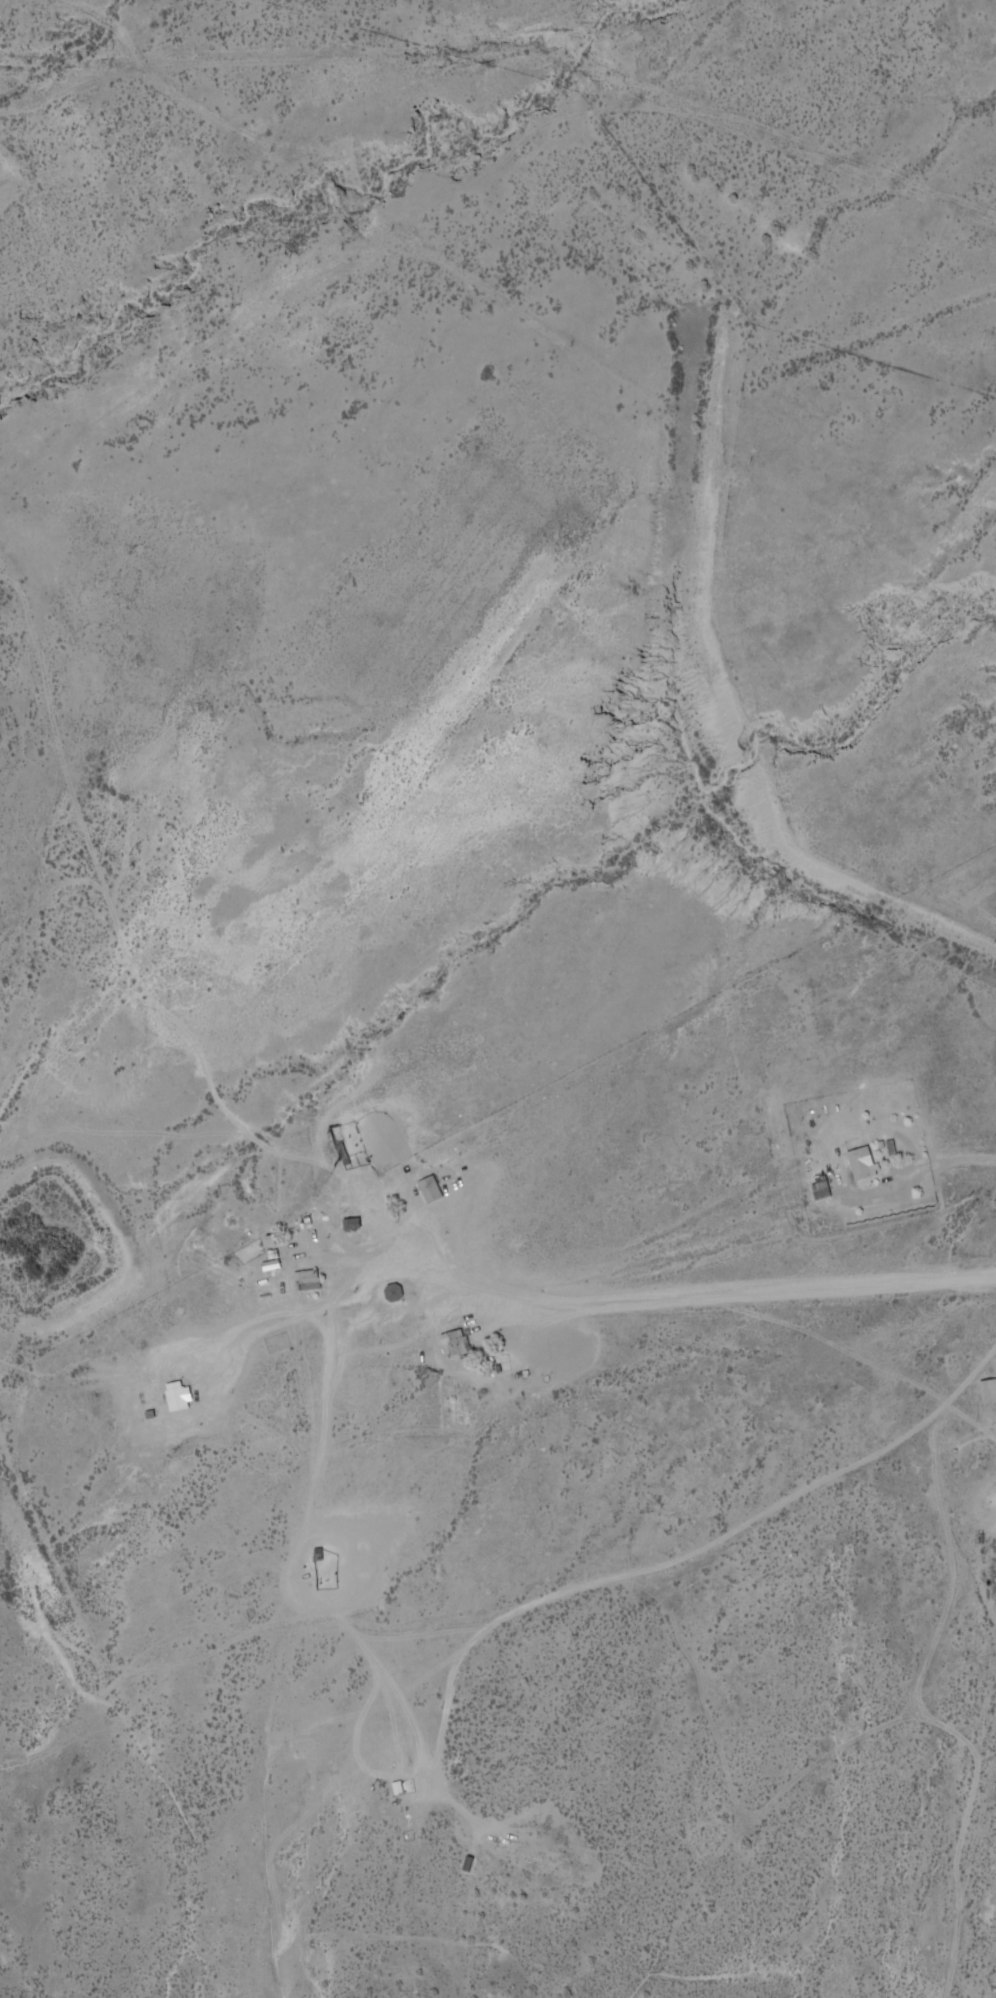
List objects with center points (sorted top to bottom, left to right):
building: (861, 1162)
building: (821, 1187)
road: (760, 1293)
building: (457, 1340)
building: (175, 1394)
road: (206, 1446)

